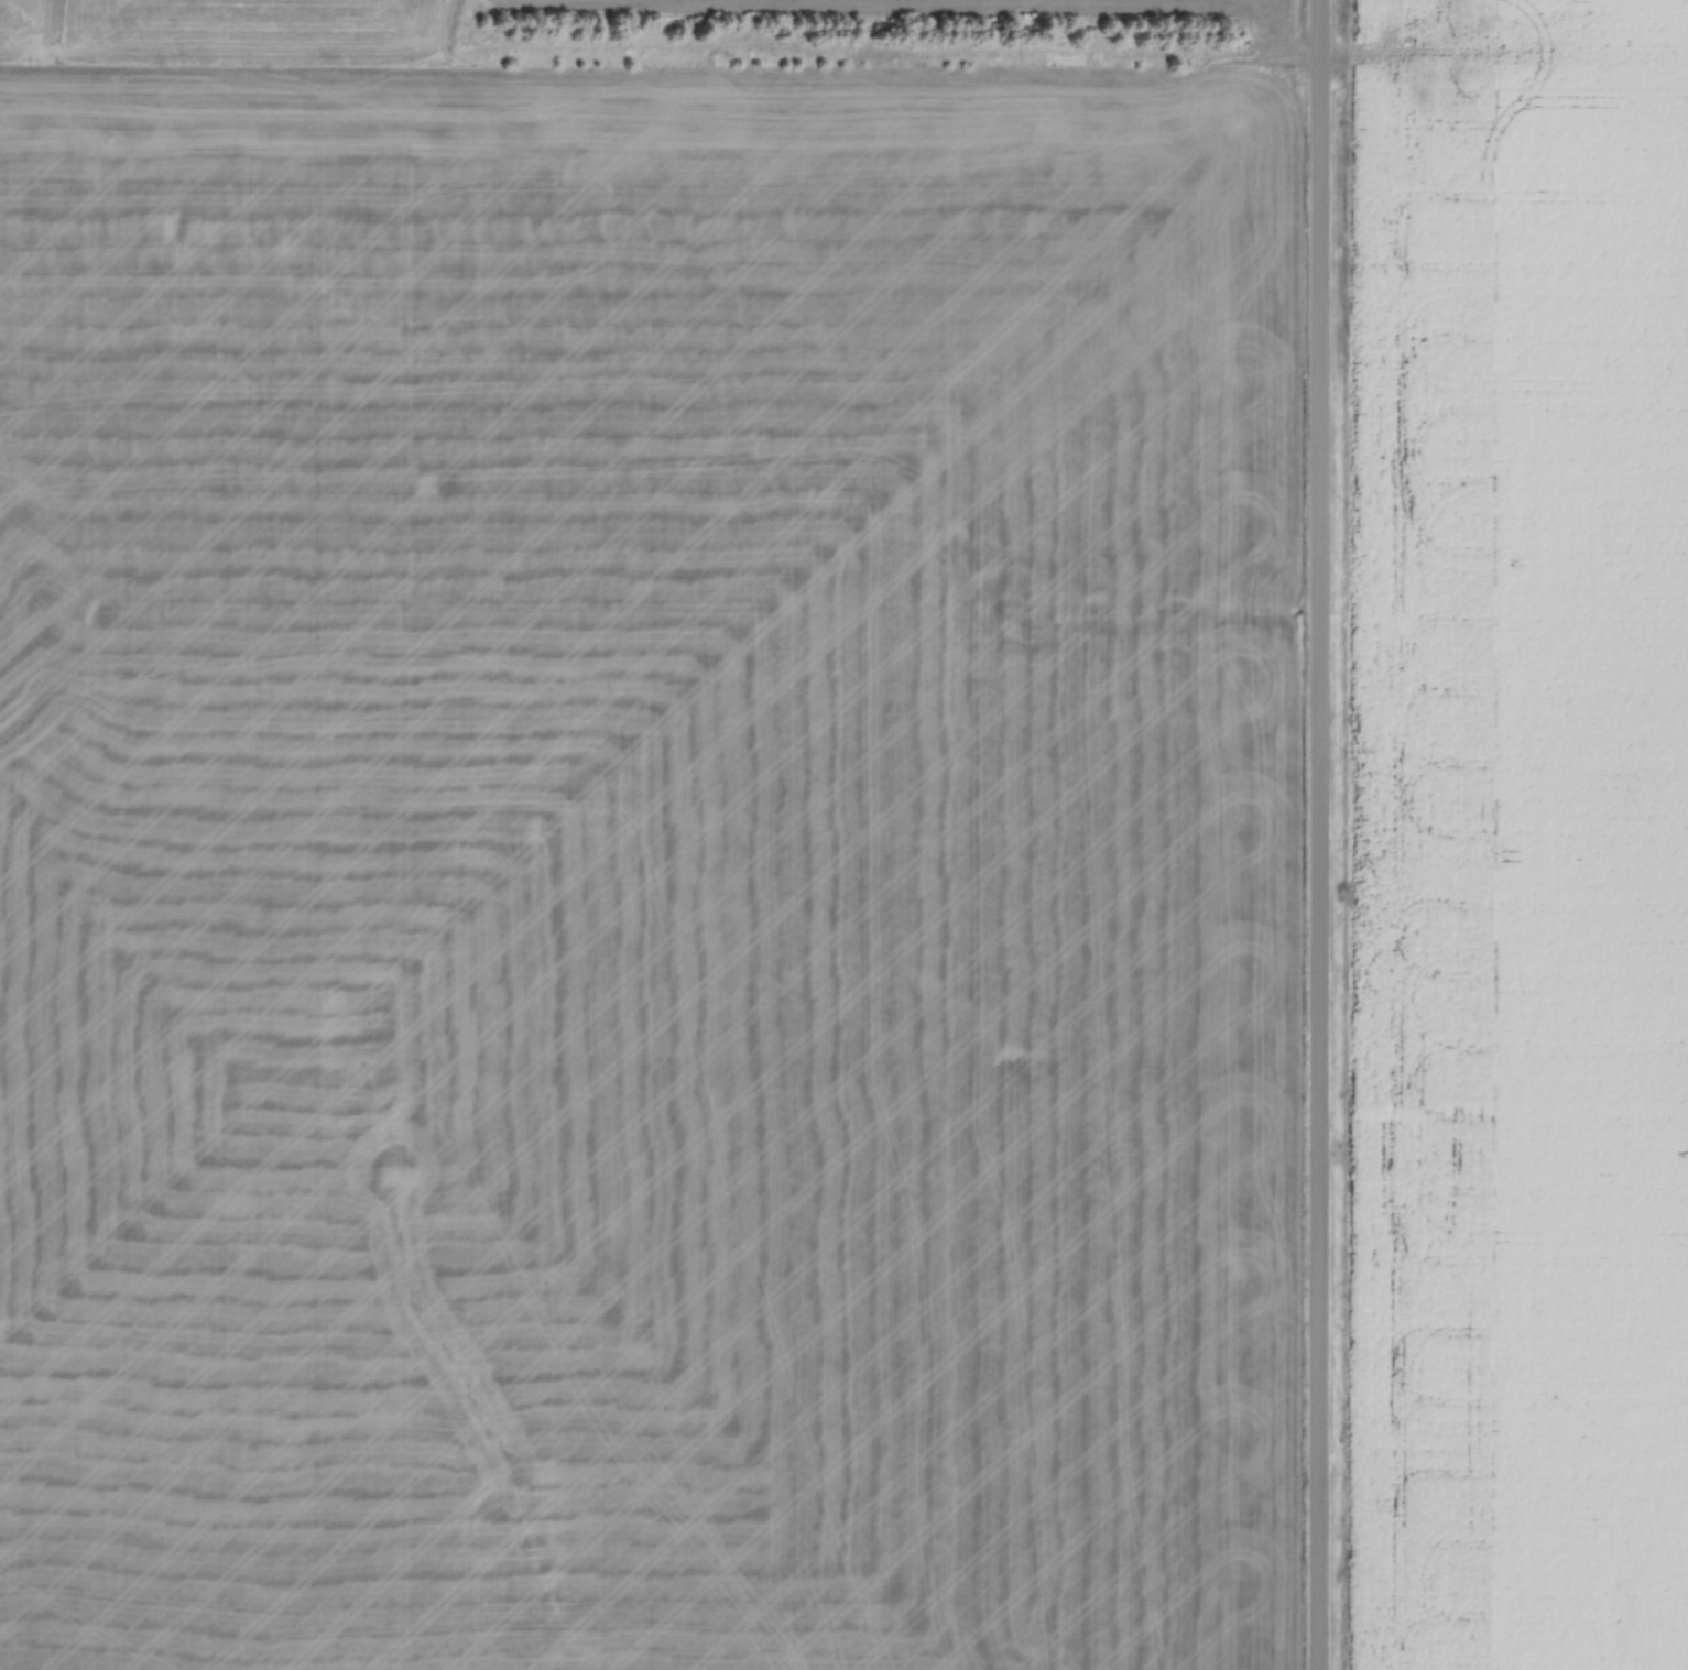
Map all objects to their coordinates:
road: (1317, 834)

